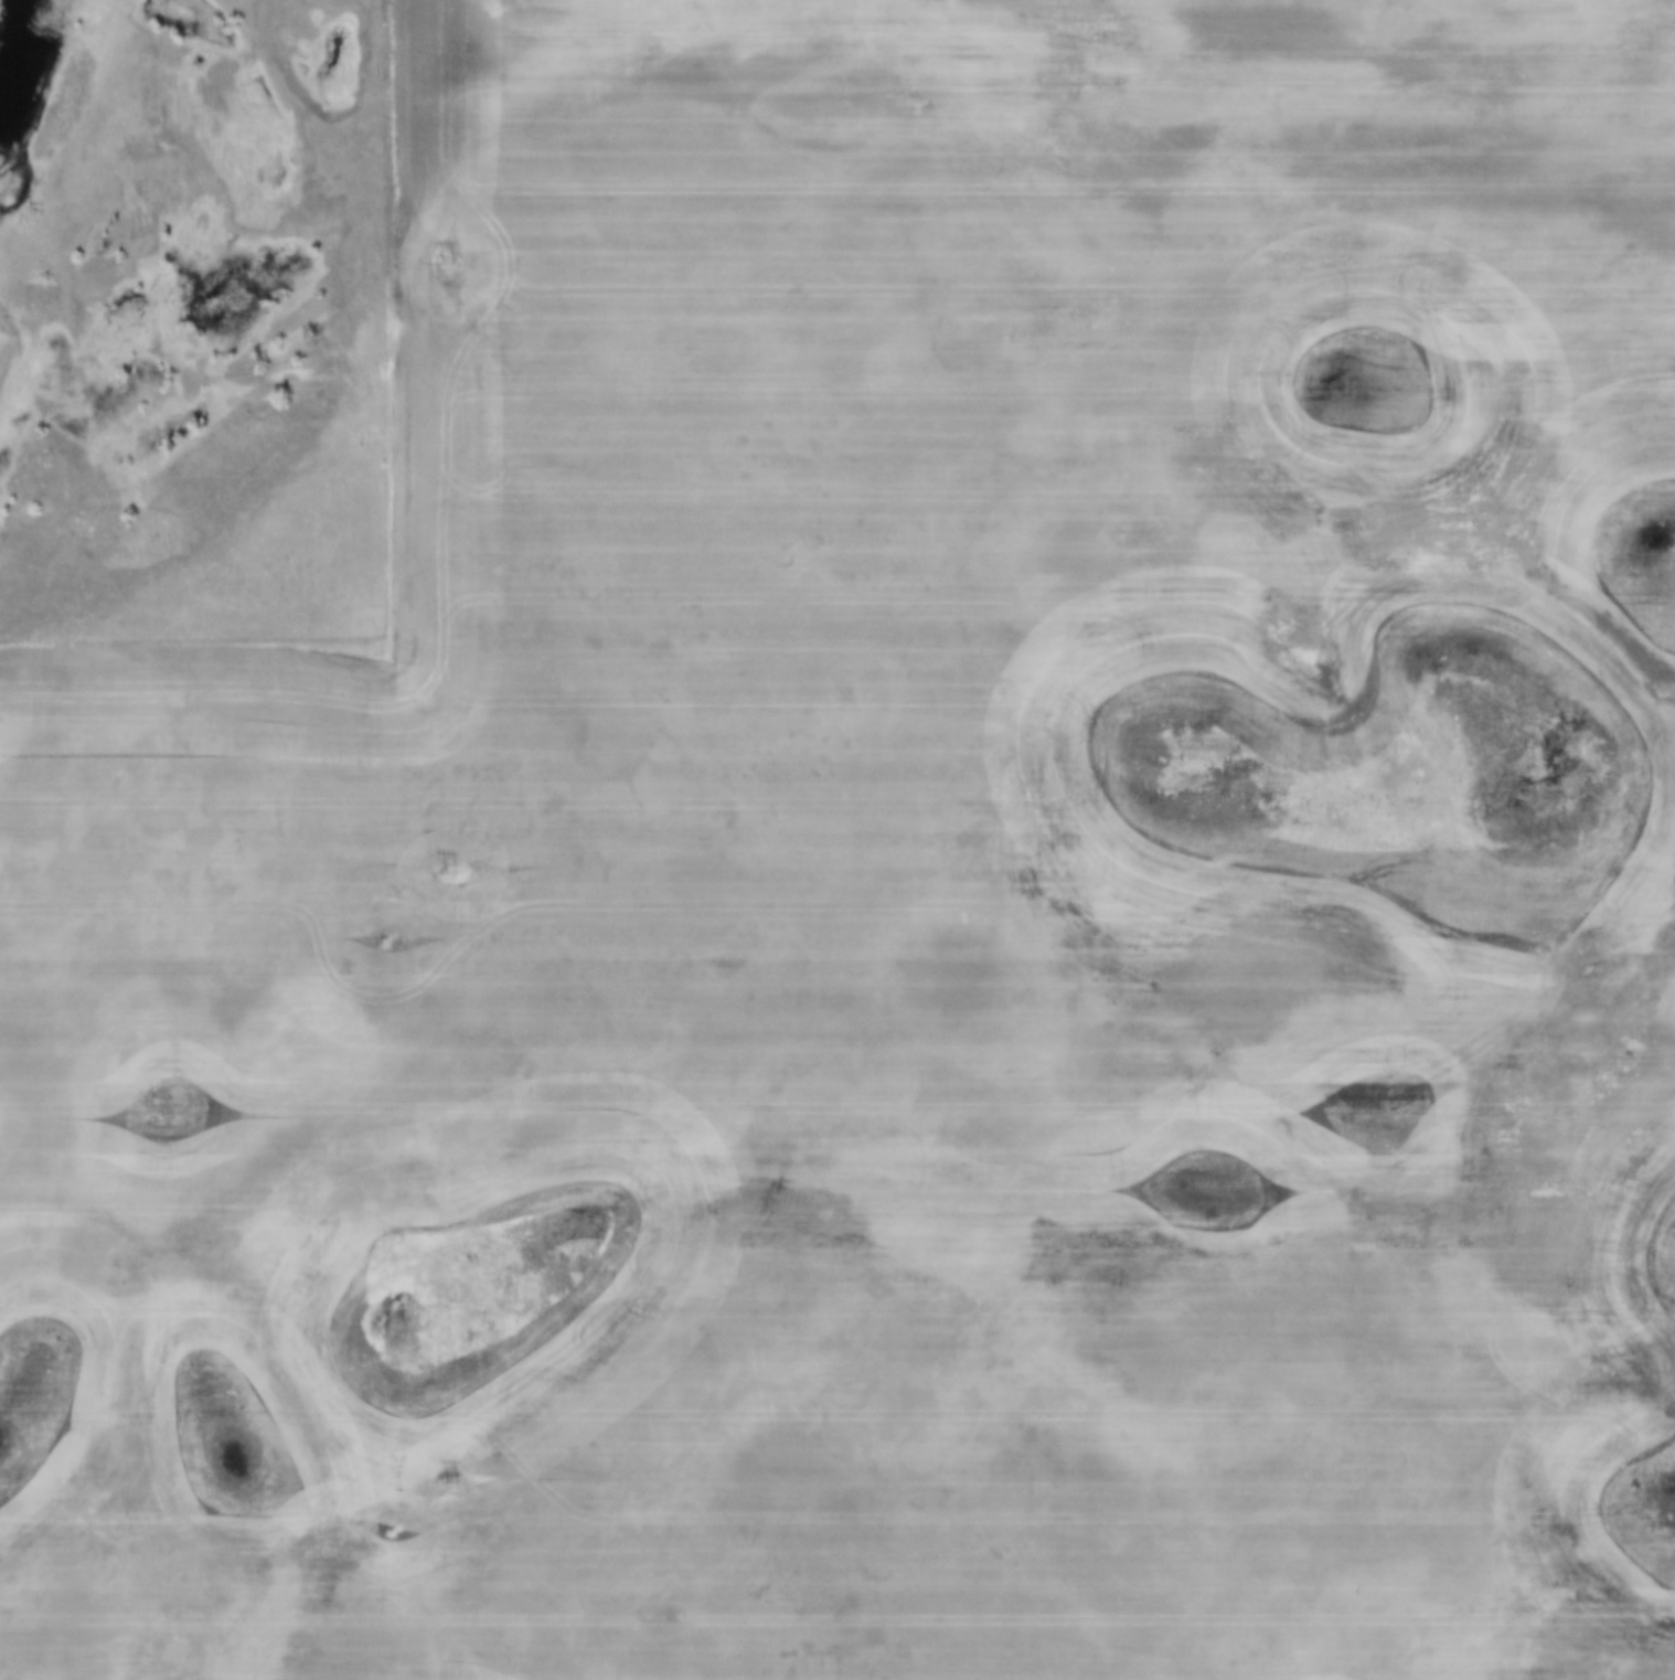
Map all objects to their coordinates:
power tower: (449, 260)
power tower: (449, 872)
power tower: (450, 1482)

